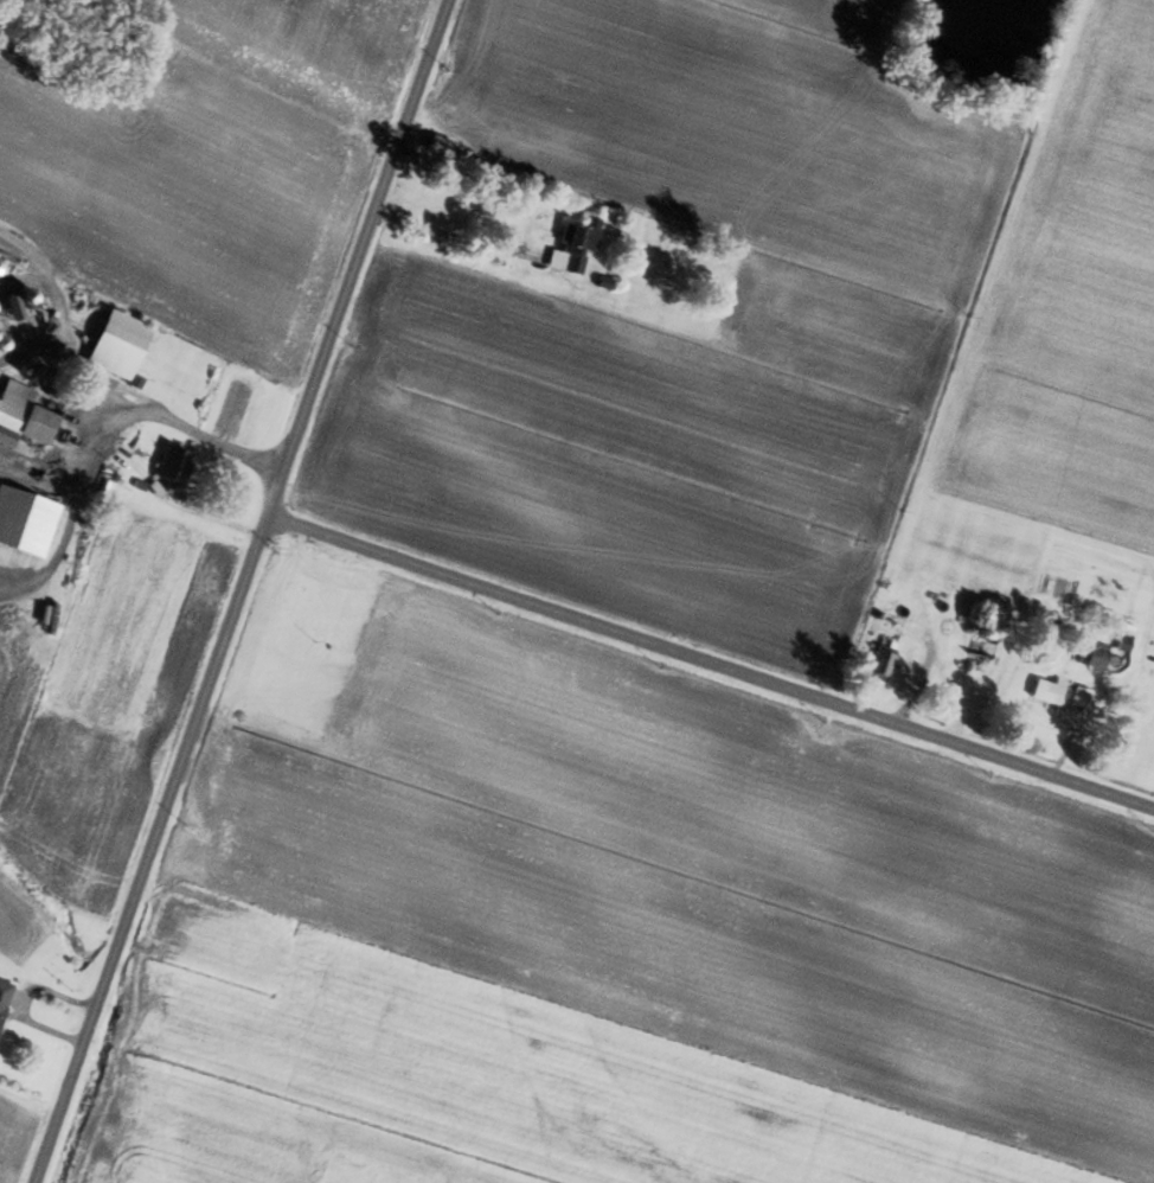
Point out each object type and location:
building: (365, 1)
building: (332, 17)
building: (435, 145)
road: (526, 230)
building: (569, 244)
building: (110, 343)
building: (18, 414)
road: (164, 415)
building: (165, 467)
road: (28, 471)
building: (23, 522)
road: (58, 543)
road: (244, 590)
building: (972, 651)
building: (1089, 653)
building: (877, 661)
road: (712, 666)
building: (1044, 690)
building: (1, 987)

